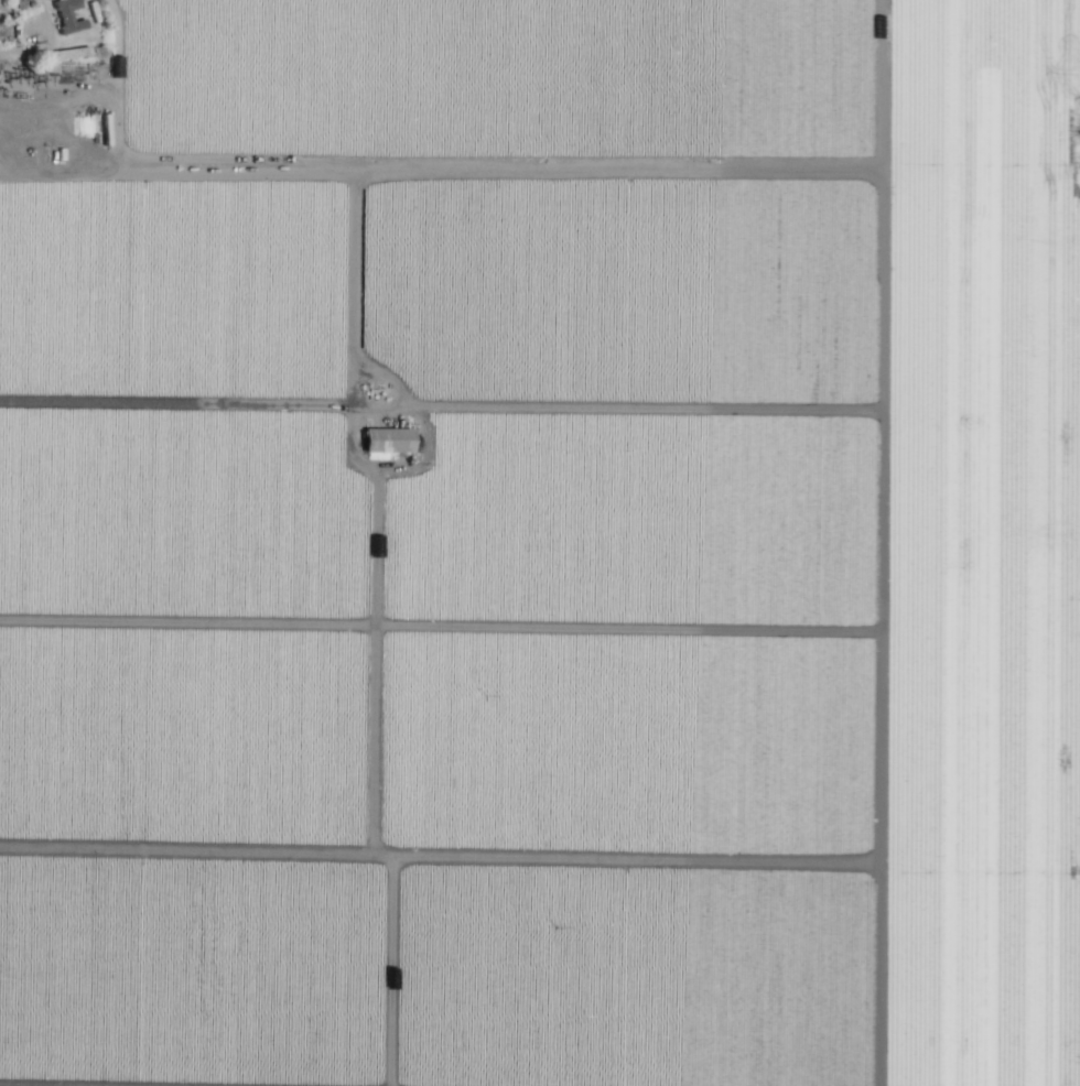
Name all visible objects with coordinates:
building: (66, 15)
road: (46, 91)
road: (93, 171)
road: (895, 232)
road: (352, 309)
building: (386, 439)
crop: (540, 543)
road: (444, 861)

